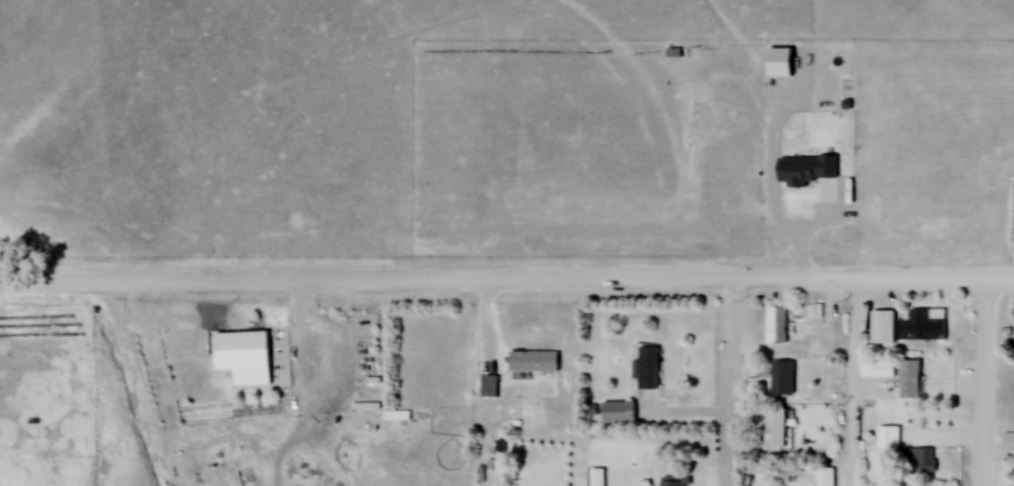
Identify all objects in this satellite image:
road: (746, 284)
road: (239, 285)
building: (778, 325)
building: (923, 325)
road: (480, 347)
building: (242, 351)
building: (534, 361)
building: (648, 367)
building: (881, 368)
building: (784, 378)
building: (910, 379)
road: (983, 383)
road: (847, 384)
road: (723, 385)
building: (618, 412)
building: (396, 415)
building: (778, 429)
building: (887, 437)
building: (918, 460)
building: (597, 477)
building: (826, 477)
building: (673, 481)

